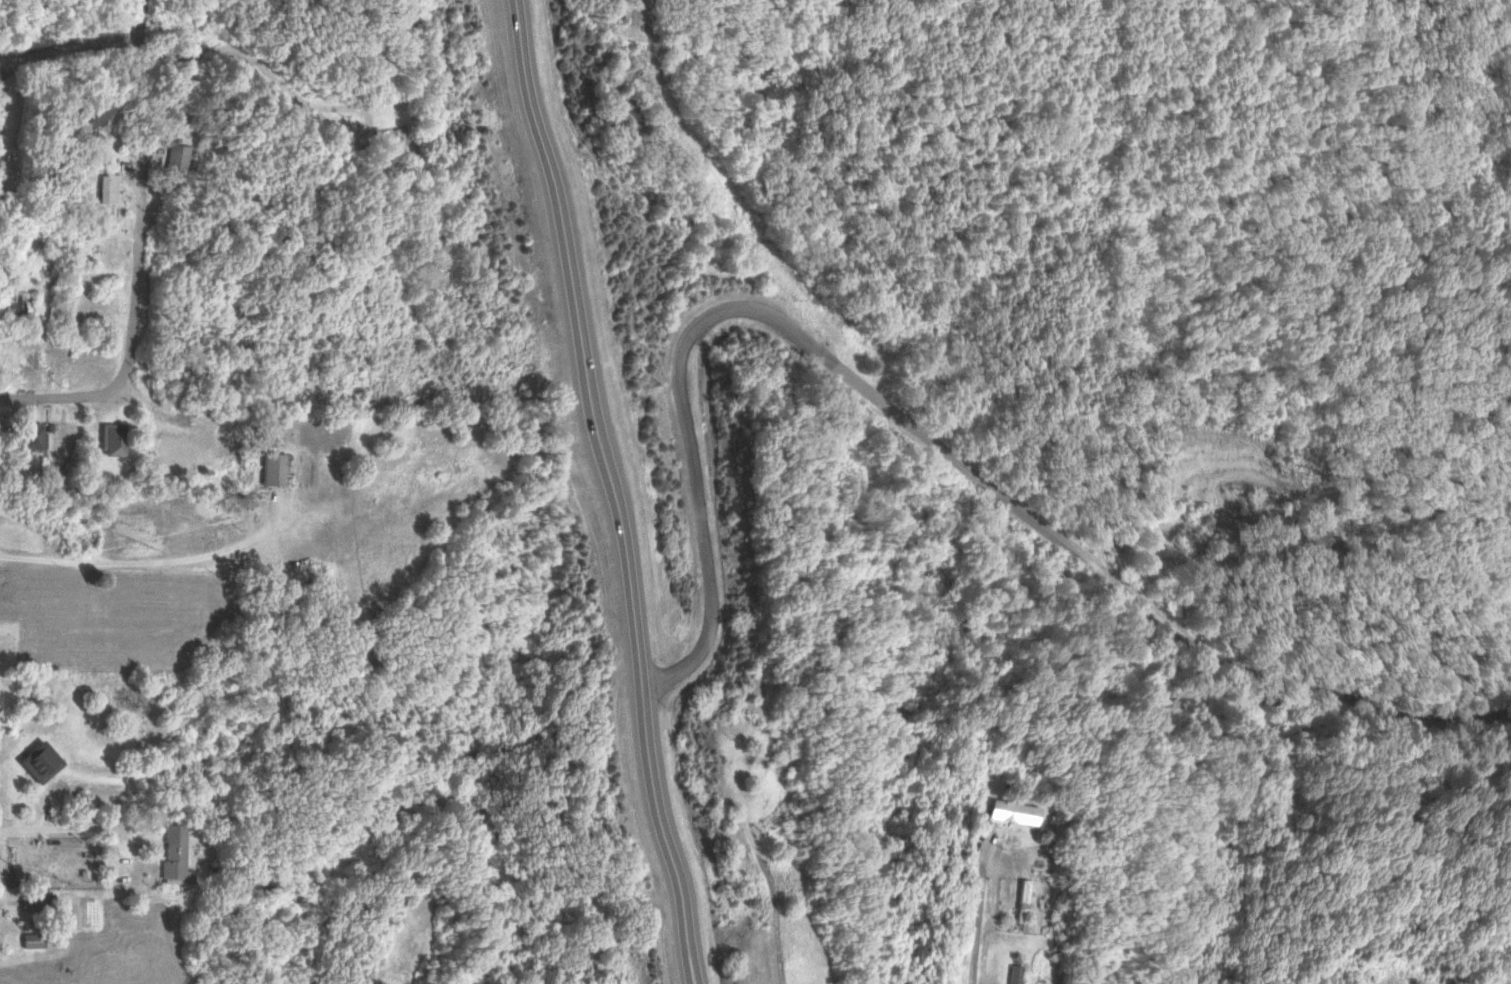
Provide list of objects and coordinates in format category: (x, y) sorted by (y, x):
road: (633, 12)
road: (136, 21)
road: (67, 51)
road: (218, 53)
building: (84, 117)
building: (170, 158)
building: (103, 188)
road: (133, 260)
building: (16, 303)
road: (827, 322)
road: (55, 395)
building: (27, 431)
building: (108, 440)
building: (267, 470)
road: (696, 484)
road: (595, 492)
road: (1118, 577)
building: (2, 723)
building: (34, 761)
building: (74, 802)
building: (1008, 811)
building: (168, 853)
road: (781, 893)
building: (1020, 900)
building: (34, 901)
road: (990, 914)
building: (28, 940)
building: (1012, 974)

